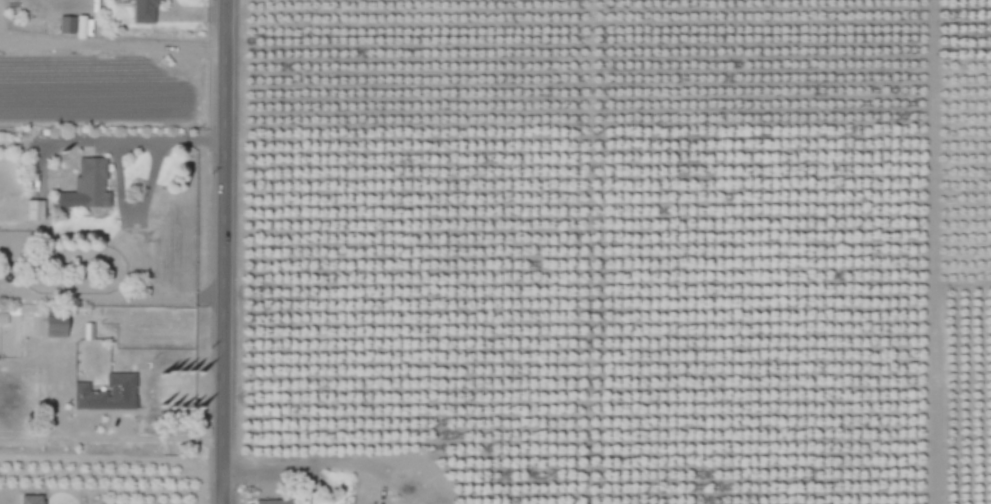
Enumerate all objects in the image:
building: (146, 10)
building: (68, 25)
building: (89, 186)
building: (35, 210)
road: (231, 252)
building: (27, 326)
building: (57, 327)
building: (89, 331)
building: (103, 352)
building: (109, 394)
road: (156, 444)
road: (325, 460)
building: (33, 499)
building: (276, 502)

